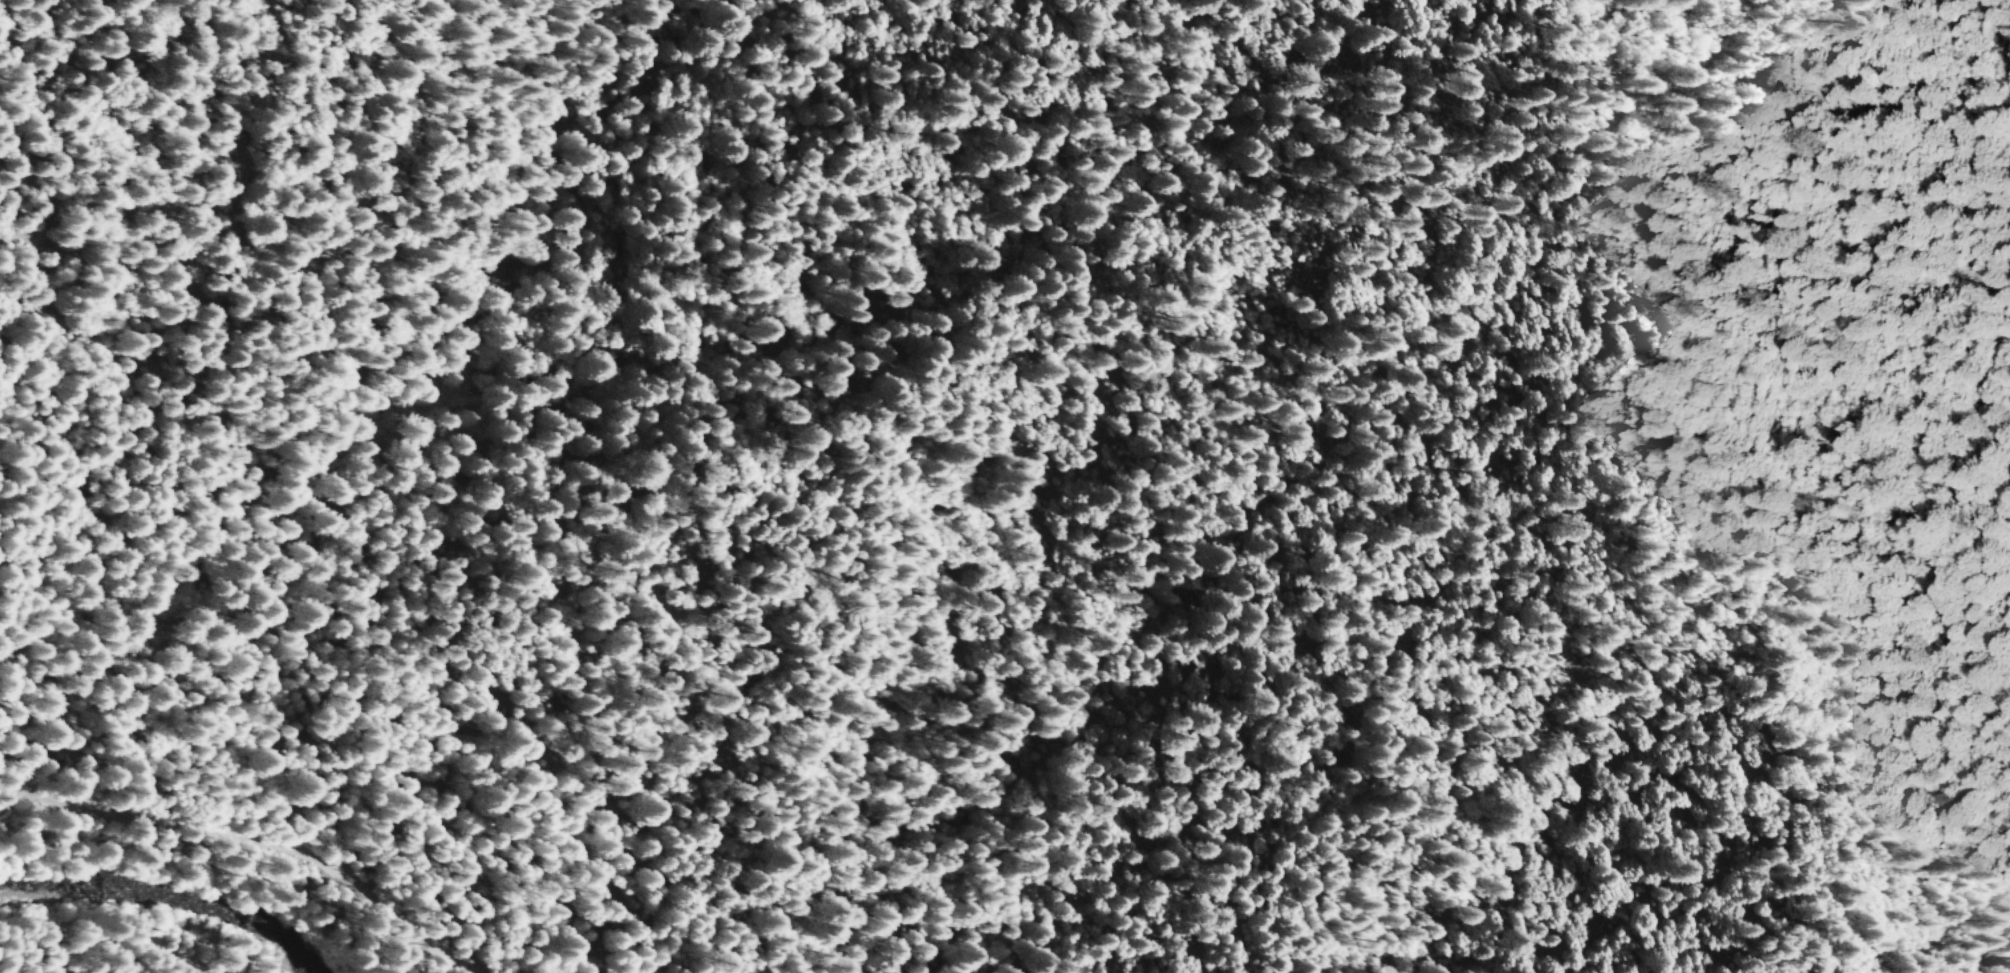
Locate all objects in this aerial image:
road: (248, 843)
river: (159, 898)

